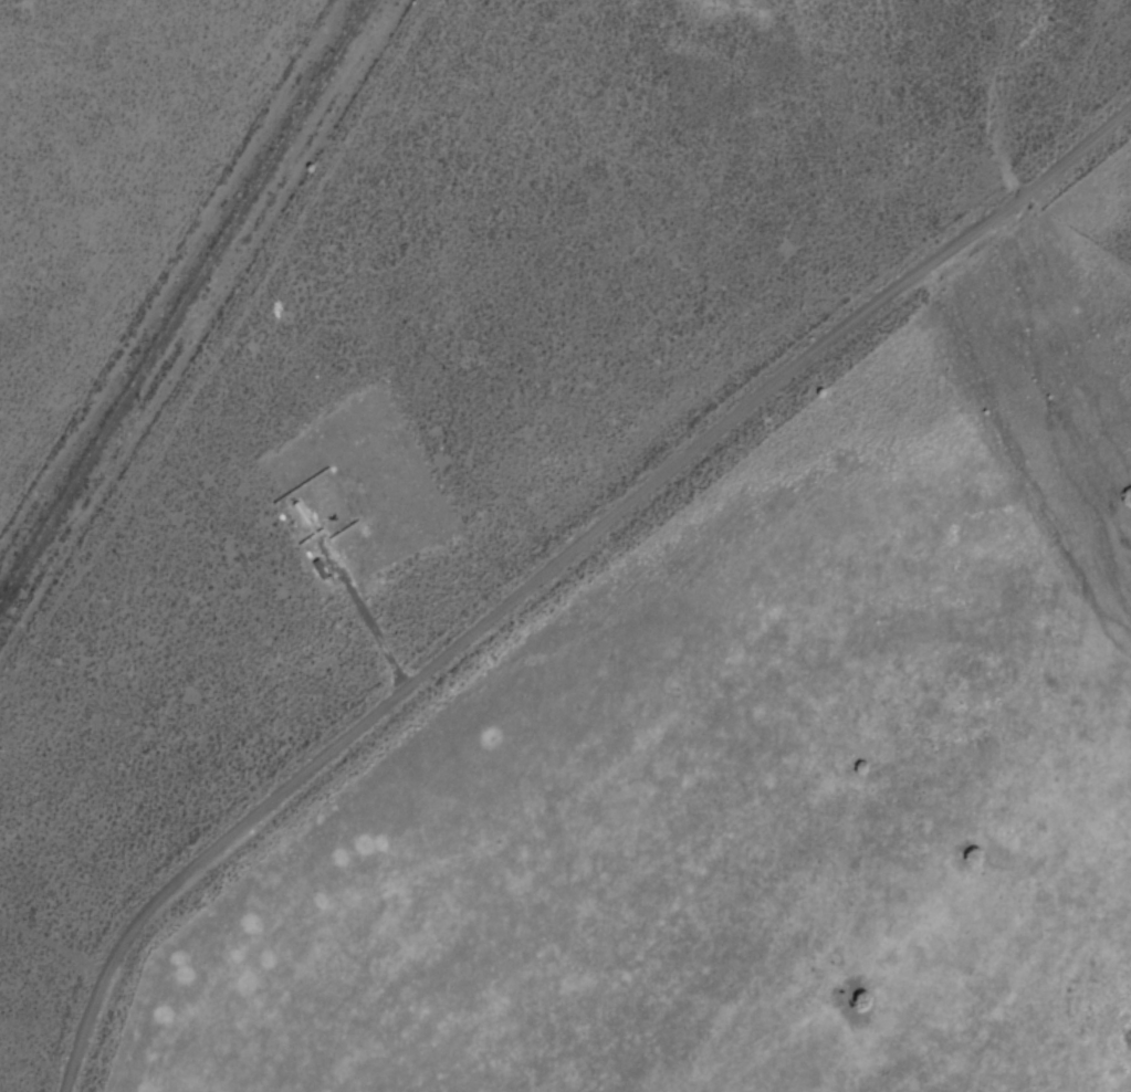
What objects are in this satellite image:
road: (201, 327)
road: (556, 566)

